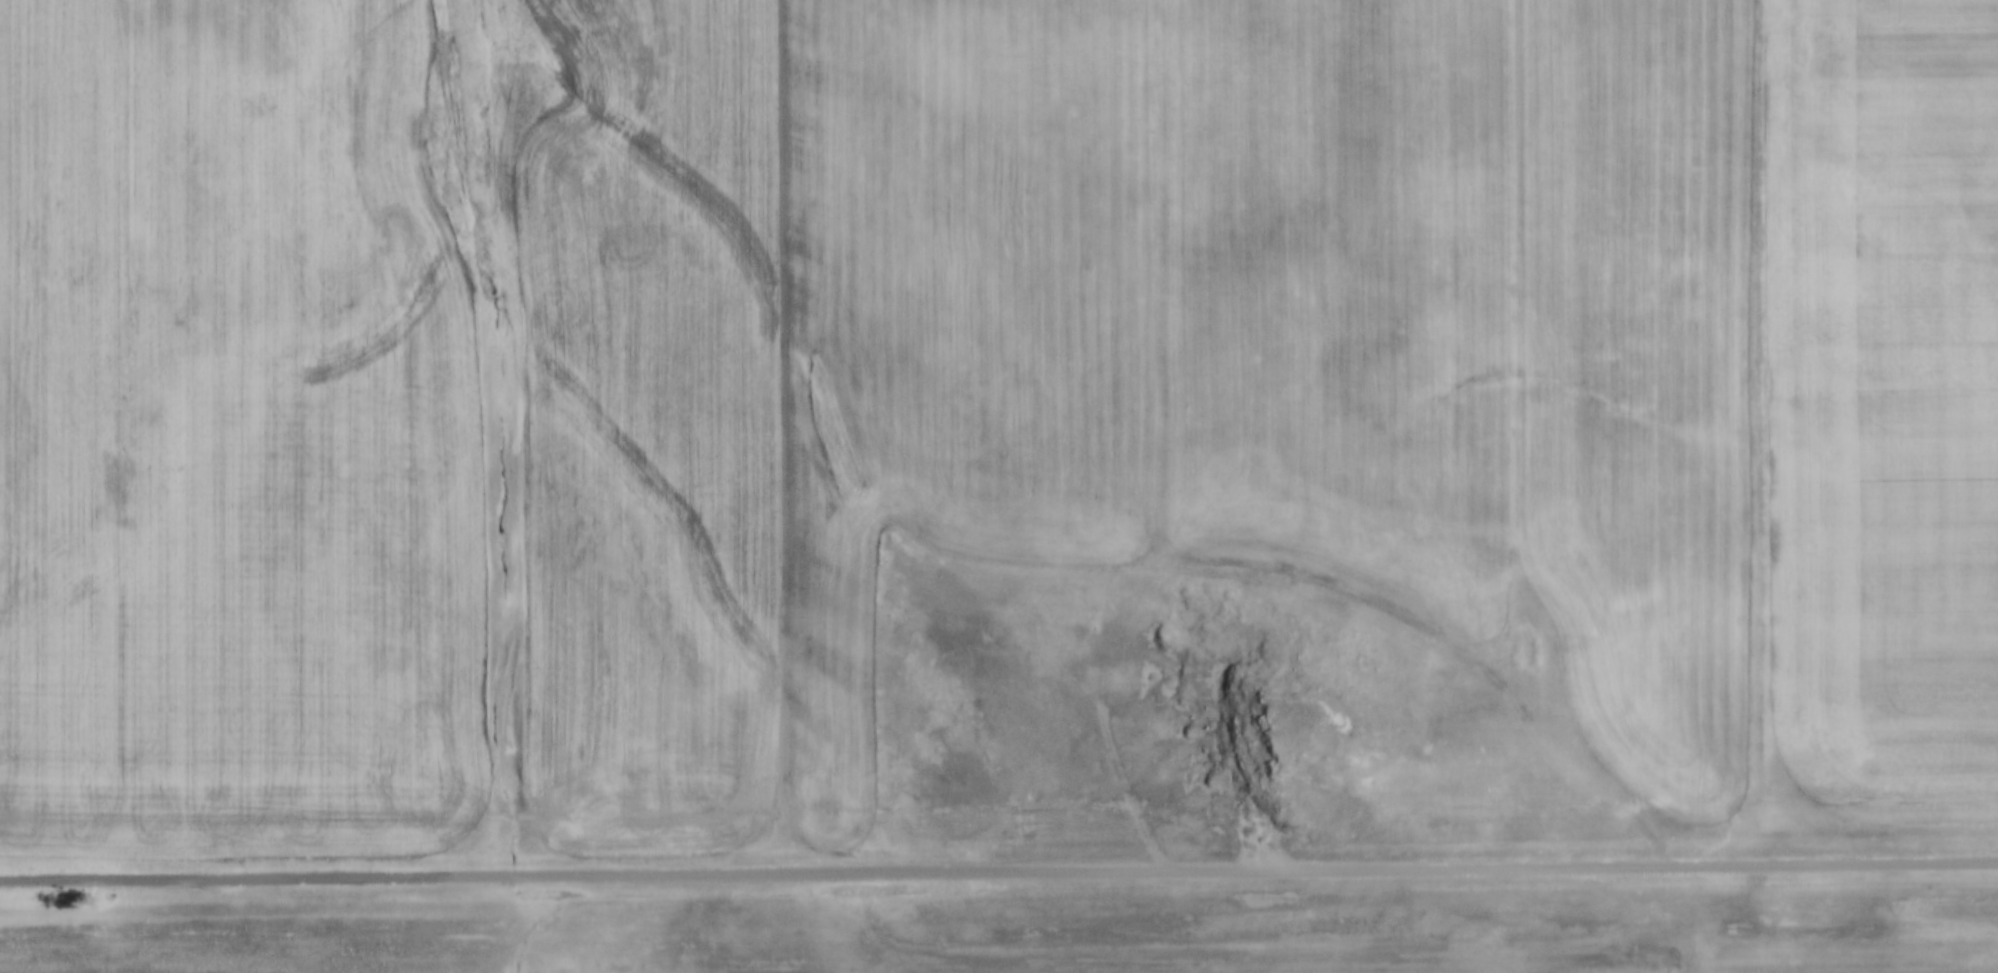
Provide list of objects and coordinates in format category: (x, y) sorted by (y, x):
road: (998, 867)

